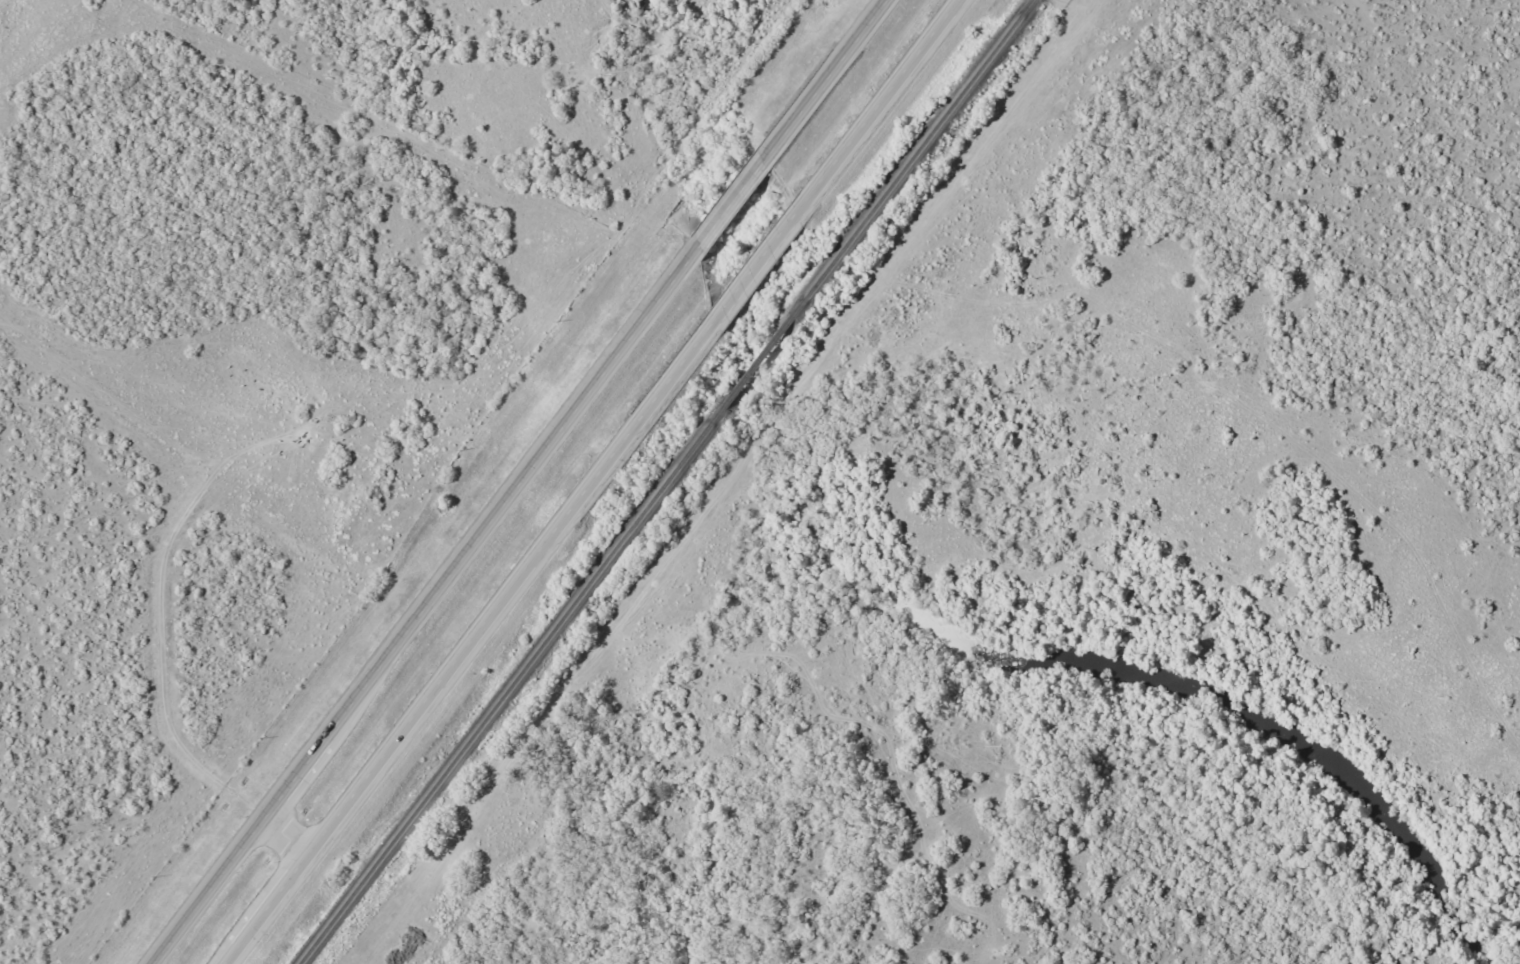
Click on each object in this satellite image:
road: (517, 481)
railway: (669, 481)
road: (598, 483)

